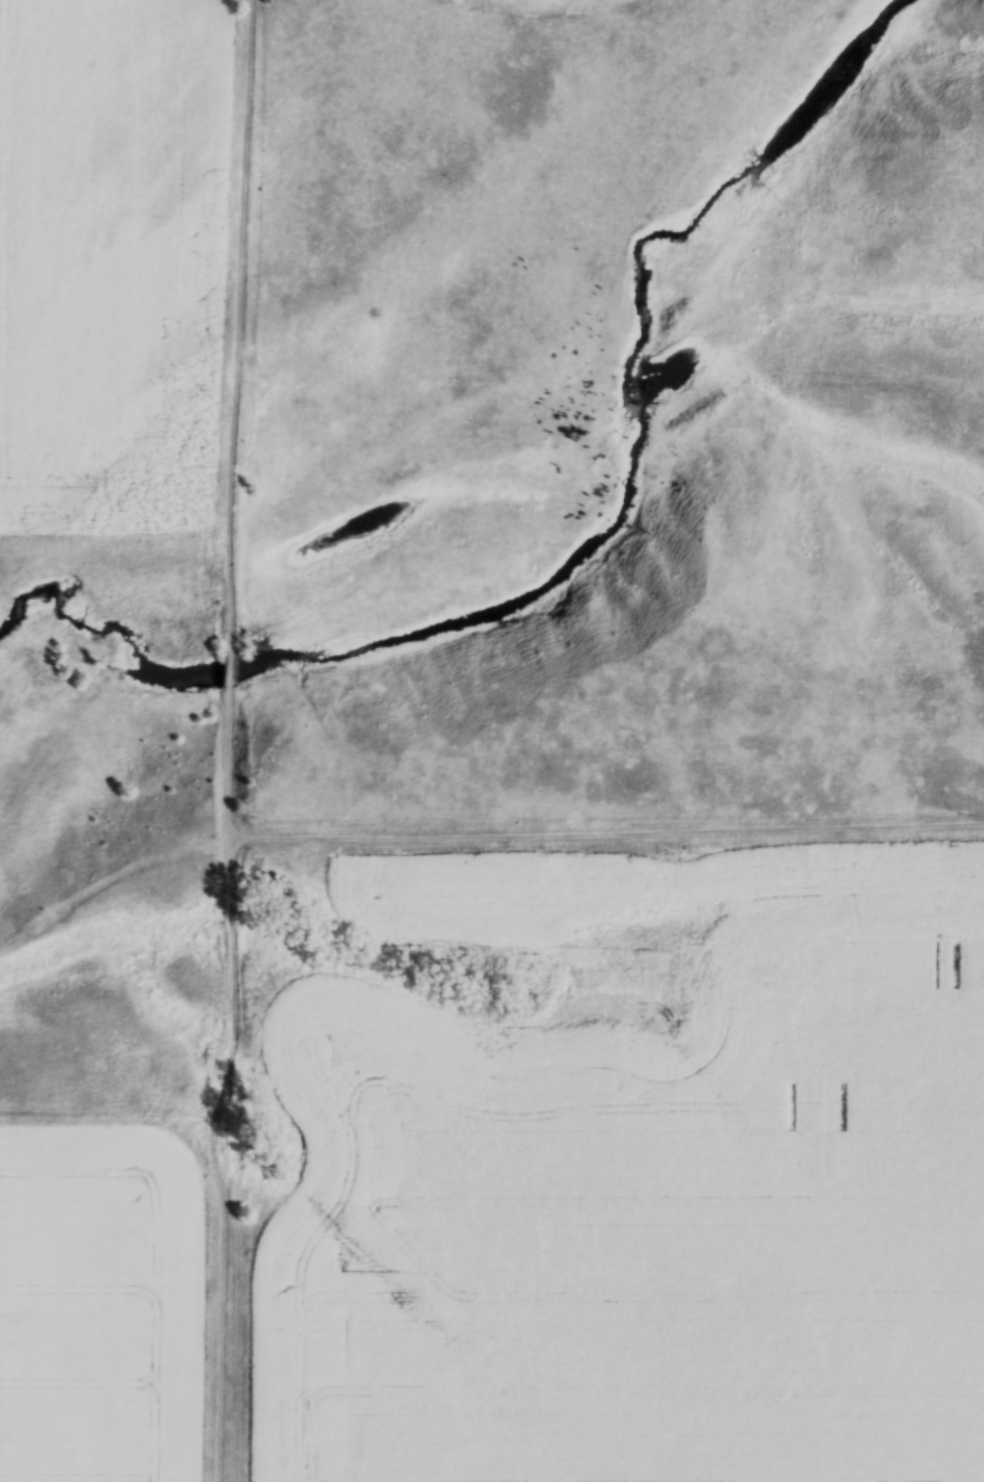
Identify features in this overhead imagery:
road: (242, 740)
road: (612, 841)

